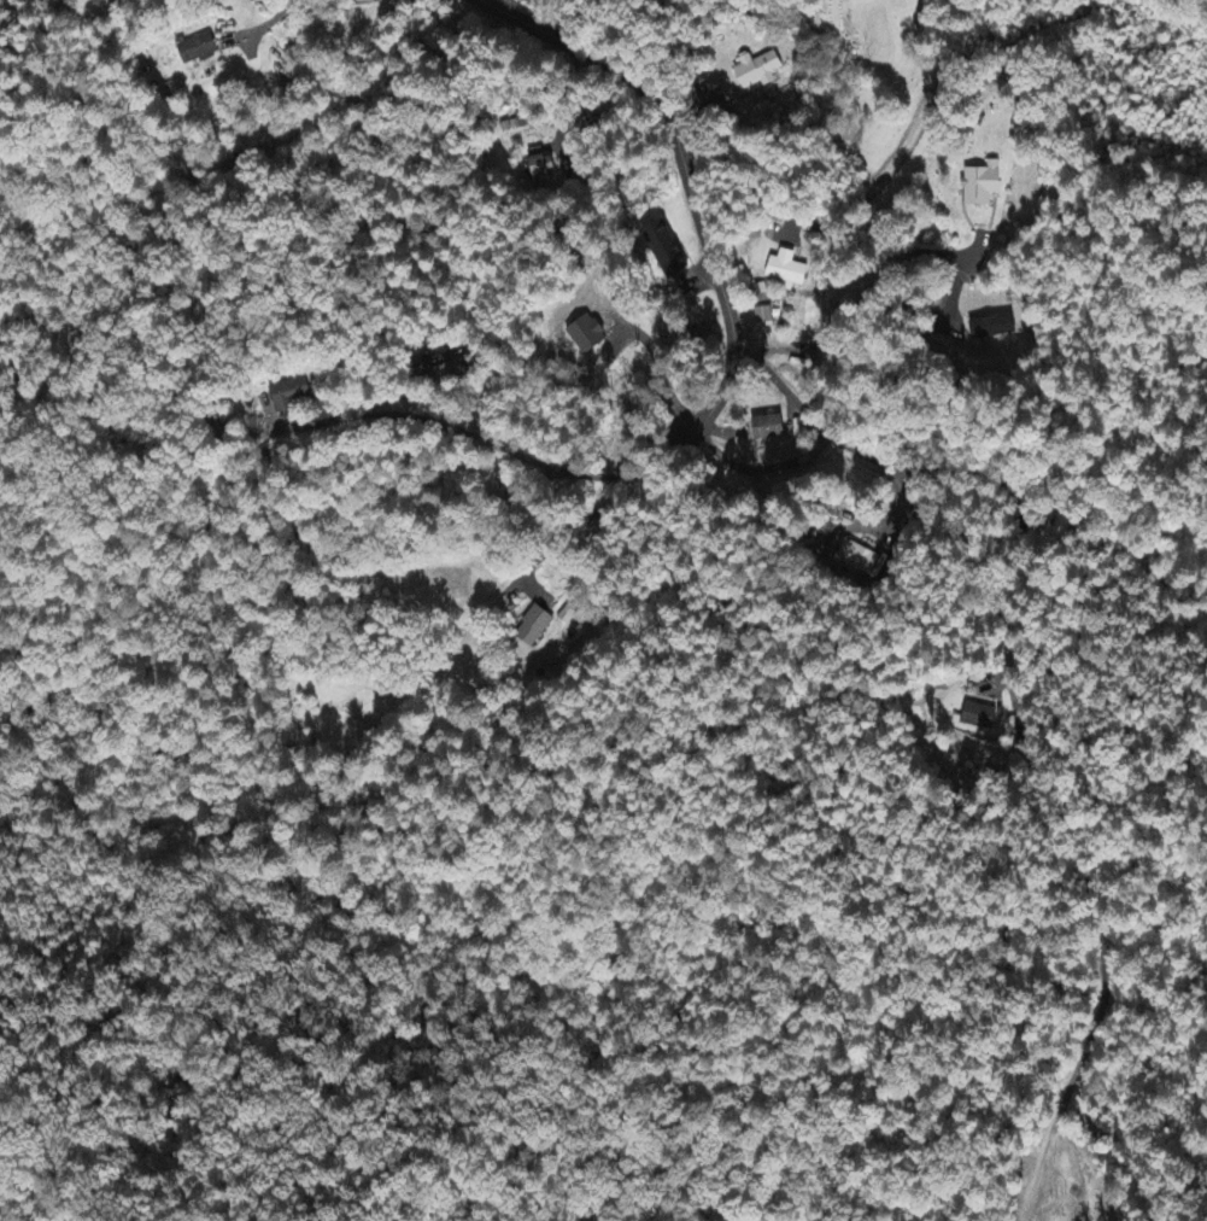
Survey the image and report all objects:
building: (89, 2)
building: (199, 51)
building: (760, 71)
building: (539, 168)
road: (689, 175)
building: (977, 186)
building: (668, 251)
building: (789, 271)
building: (763, 320)
building: (991, 329)
building: (591, 338)
building: (447, 360)
building: (291, 396)
building: (771, 430)
building: (860, 559)
building: (535, 627)
building: (974, 717)

